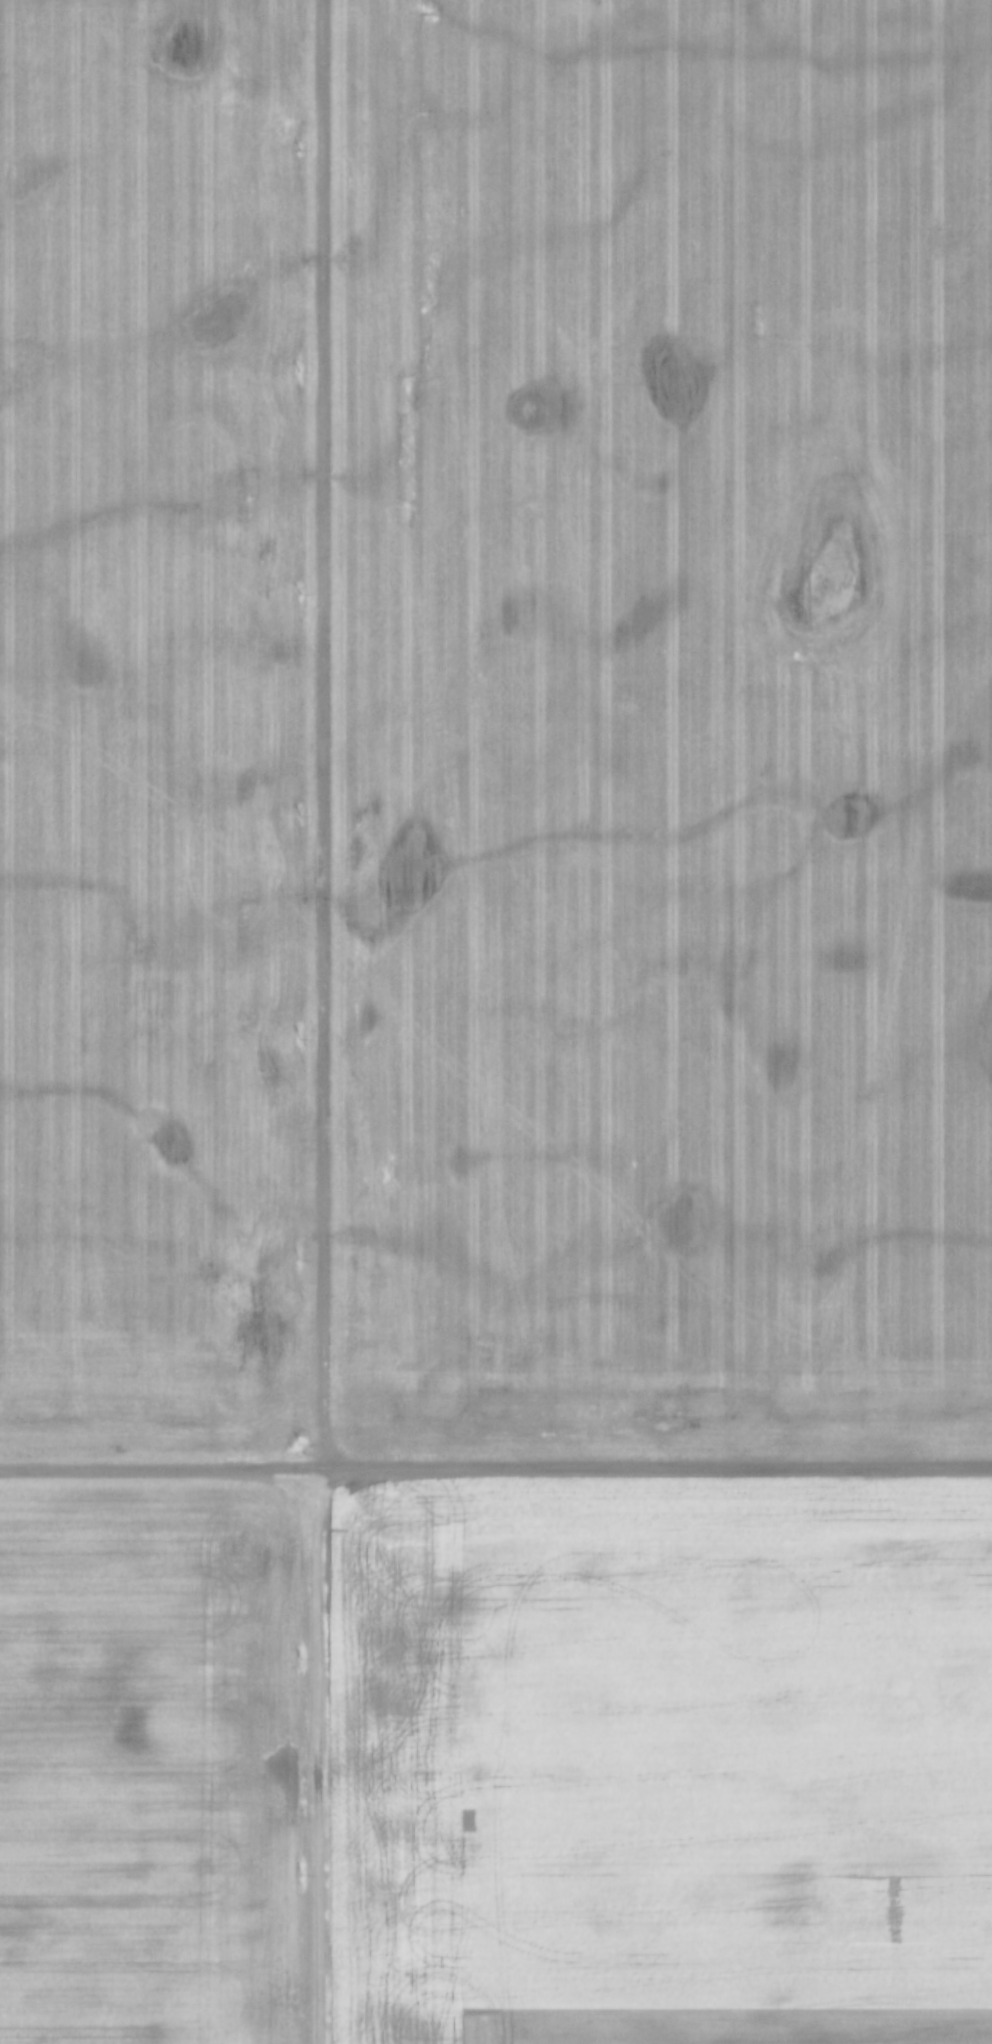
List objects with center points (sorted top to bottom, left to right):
road: (324, 1022)
road: (496, 1471)

